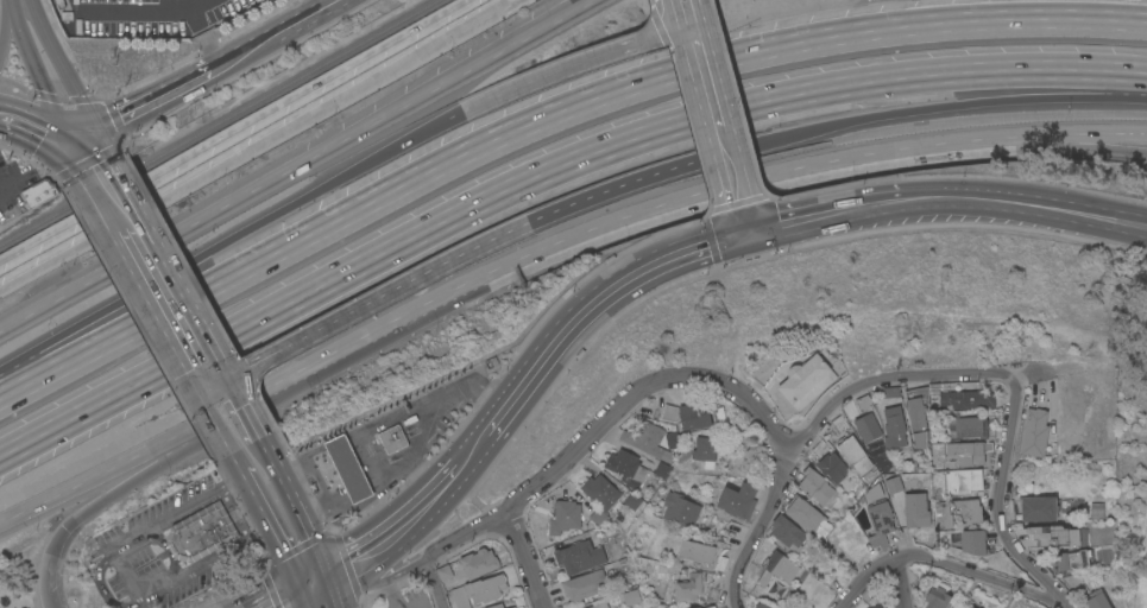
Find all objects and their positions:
road: (18, 2)
road: (317, 4)
road: (649, 4)
road: (140, 8)
road: (4, 18)
road: (658, 28)
road: (275, 31)
road: (202, 34)
road: (573, 63)
road: (59, 64)
road: (36, 75)
road: (147, 99)
road: (710, 102)
road: (736, 104)
road: (929, 107)
railway: (216, 121)
road: (547, 121)
road: (38, 127)
road: (232, 128)
road: (689, 132)
traffic signals: (78, 135)
road: (1051, 135)
road: (254, 144)
road: (1052, 146)
road: (87, 152)
road: (294, 164)
road: (547, 176)
road: (619, 185)
road: (837, 186)
building: (39, 191)
road: (113, 197)
road: (1026, 203)
road: (824, 213)
road: (742, 218)
road: (600, 226)
road: (227, 237)
road: (710, 240)
road: (367, 302)
road: (171, 303)
road: (591, 303)
road: (1059, 366)
building: (806, 380)
road: (887, 381)
road: (237, 399)
road: (426, 399)
building: (965, 399)
building: (862, 403)
road: (209, 412)
building: (694, 414)
building: (916, 417)
road: (430, 423)
road: (605, 423)
building: (868, 426)
building: (894, 426)
building: (964, 426)
road: (253, 431)
building: (1034, 432)
building: (392, 438)
building: (647, 441)
road: (334, 442)
road: (260, 444)
building: (704, 448)
road: (471, 450)
building: (965, 451)
road: (136, 452)
road: (229, 454)
building: (855, 454)
road: (376, 456)
road: (297, 457)
building: (832, 465)
building: (626, 467)
building: (346, 468)
building: (662, 469)
building: (963, 480)
road: (132, 481)
road: (316, 481)
building: (894, 483)
building: (815, 486)
building: (600, 490)
road: (373, 495)
building: (738, 499)
building: (632, 500)
road: (998, 502)
building: (1035, 507)
building: (680, 508)
building: (915, 508)
building: (970, 509)
building: (1096, 509)
road: (295, 513)
building: (565, 515)
building: (598, 515)
building: (806, 517)
building: (881, 521)
road: (269, 527)
building: (787, 531)
road: (396, 532)
road: (760, 532)
building: (200, 533)
building: (1053, 534)
building: (973, 541)
building: (695, 550)
building: (578, 556)
building: (1072, 558)
road: (525, 560)
building: (478, 563)
building: (776, 568)
building: (443, 571)
road: (125, 572)
road: (979, 575)
traffic signals: (316, 578)
road: (866, 579)
road: (380, 582)
road: (431, 584)
building: (585, 584)
road: (900, 585)
road: (270, 587)
building: (688, 587)
building: (486, 588)
road: (300, 593)
road: (320, 593)
building: (937, 595)
building: (460, 596)
building: (631, 596)
building: (1097, 600)
building: (496, 606)
building: (600, 606)
building: (763, 606)
building: (876, 606)
road: (1064, 606)
building: (517, 607)
building: (698, 607)
building: (756, 607)
building: (969, 607)
building: (972, 607)

